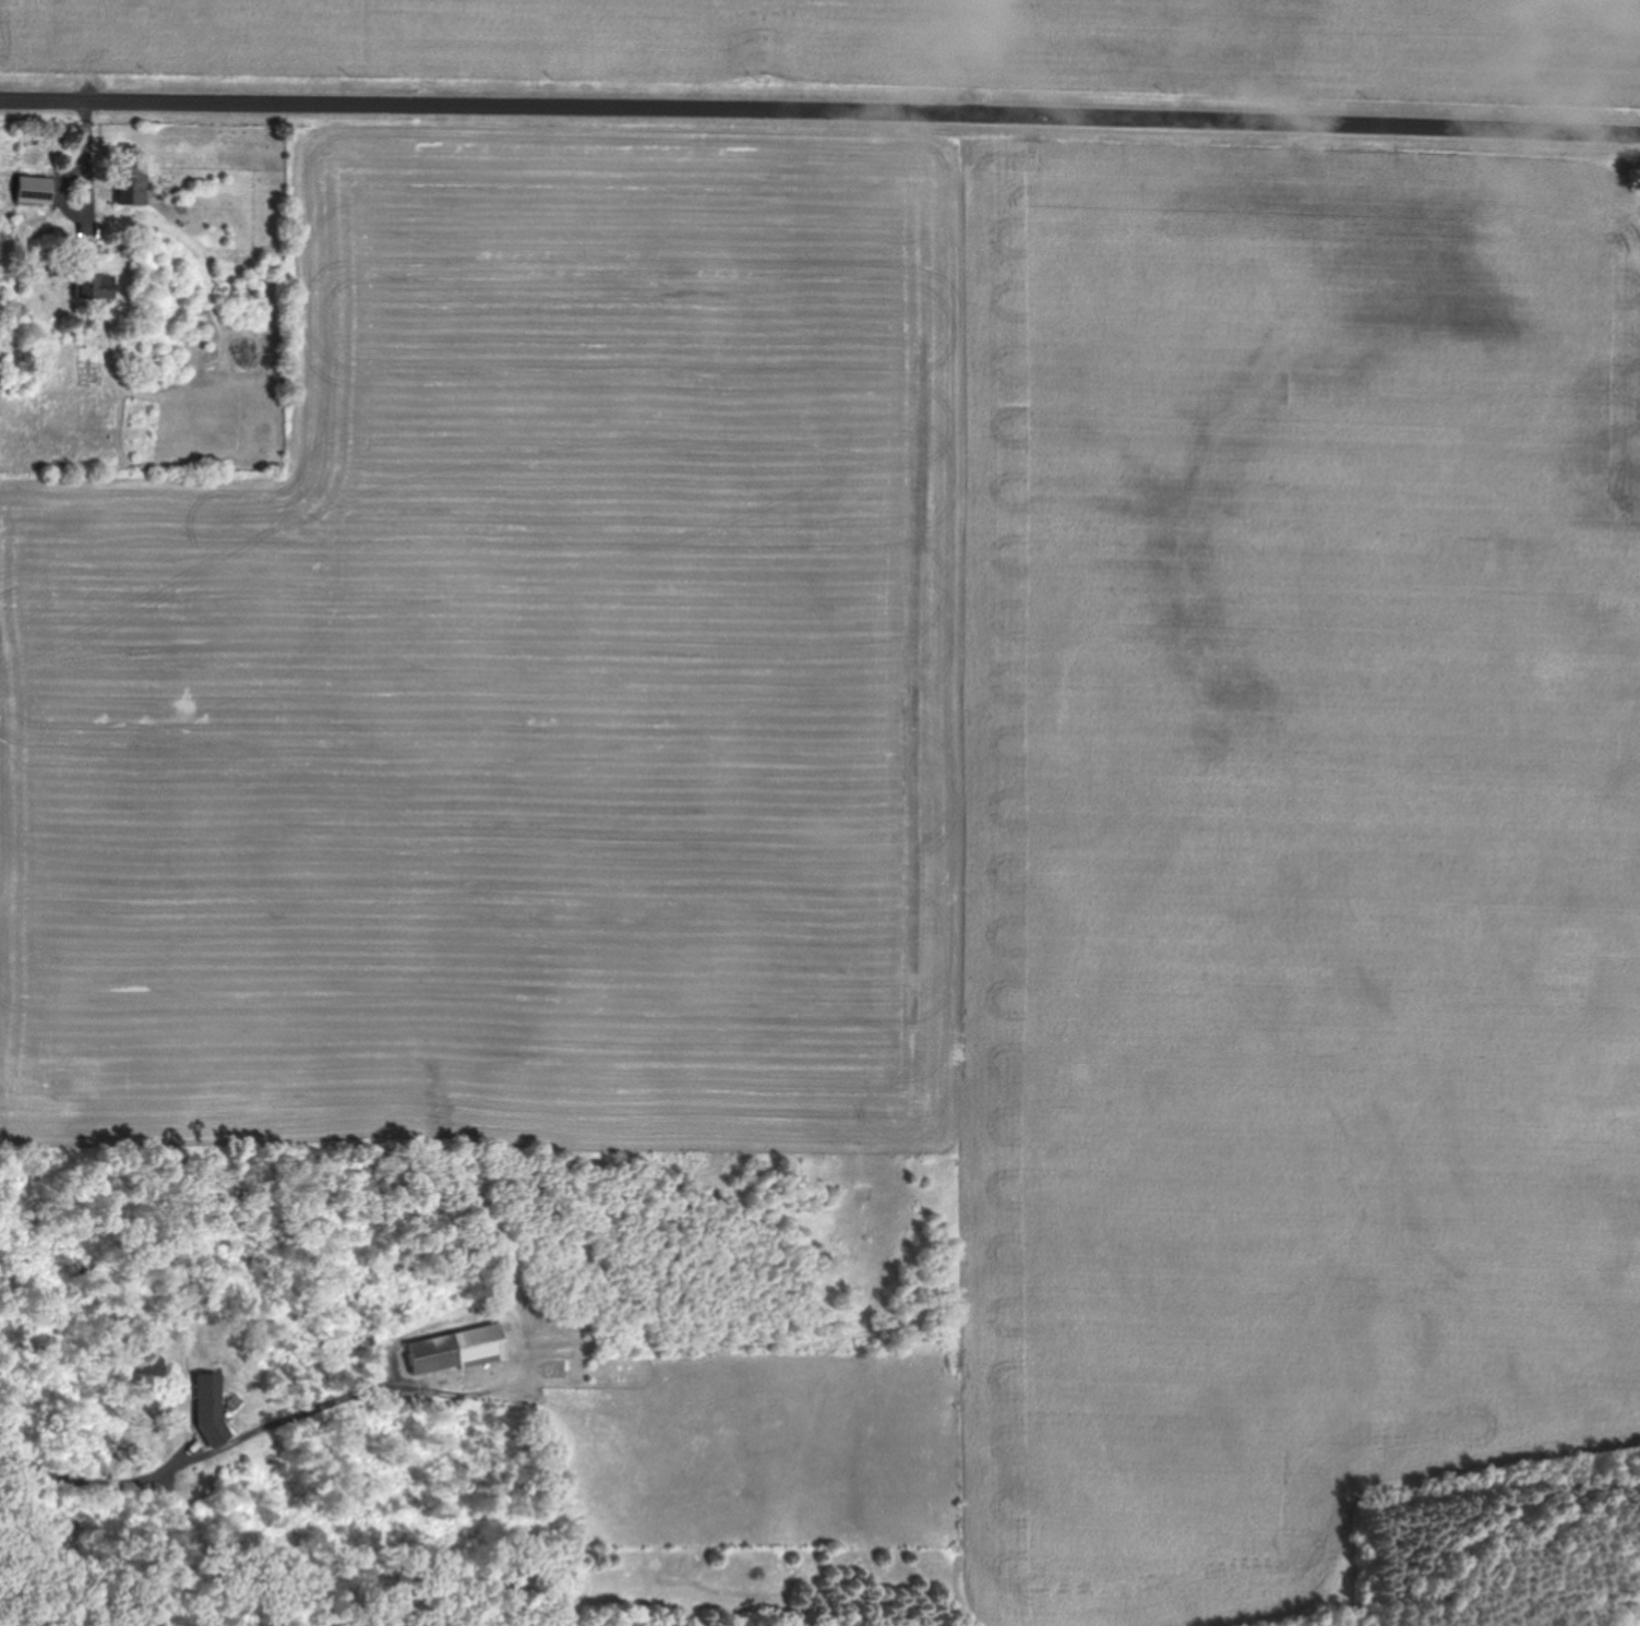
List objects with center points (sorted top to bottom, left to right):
road: (819, 100)
building: (130, 184)
building: (36, 187)
building: (93, 285)
building: (456, 1348)
building: (210, 1407)

